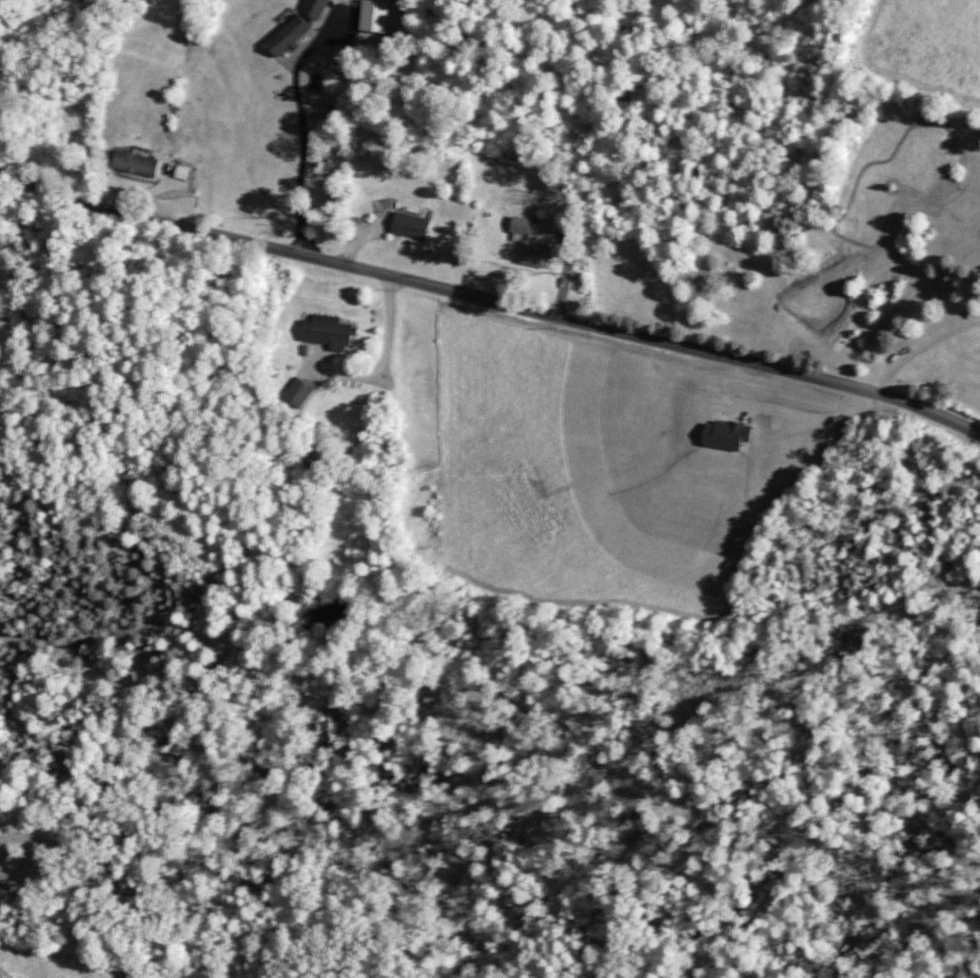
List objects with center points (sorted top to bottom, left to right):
building: (371, 15)
building: (133, 163)
building: (407, 224)
building: (518, 225)
building: (533, 253)
road: (489, 300)
building: (327, 329)
building: (296, 391)

